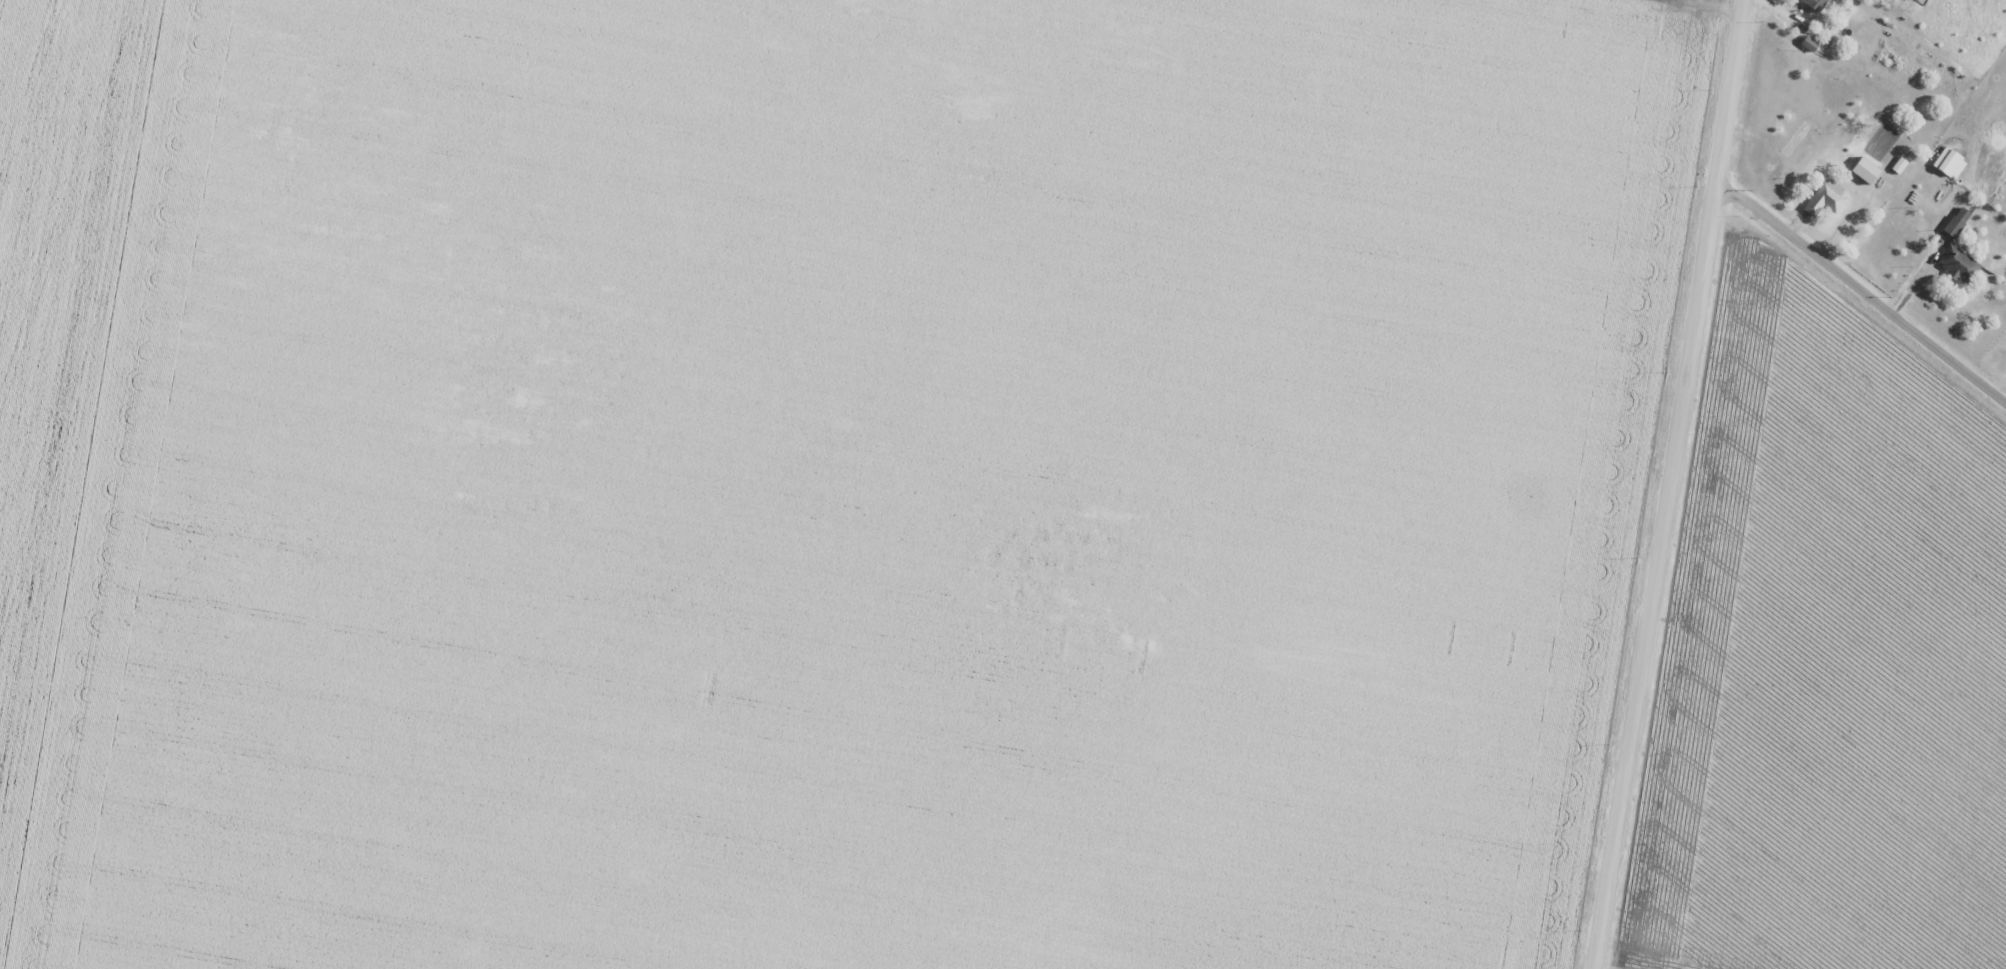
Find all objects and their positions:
building: (1815, 4)
building: (1795, 139)
building: (1864, 170)
building: (1824, 198)
building: (1956, 221)
building: (1957, 264)
road: (1861, 306)
road: (1672, 484)

